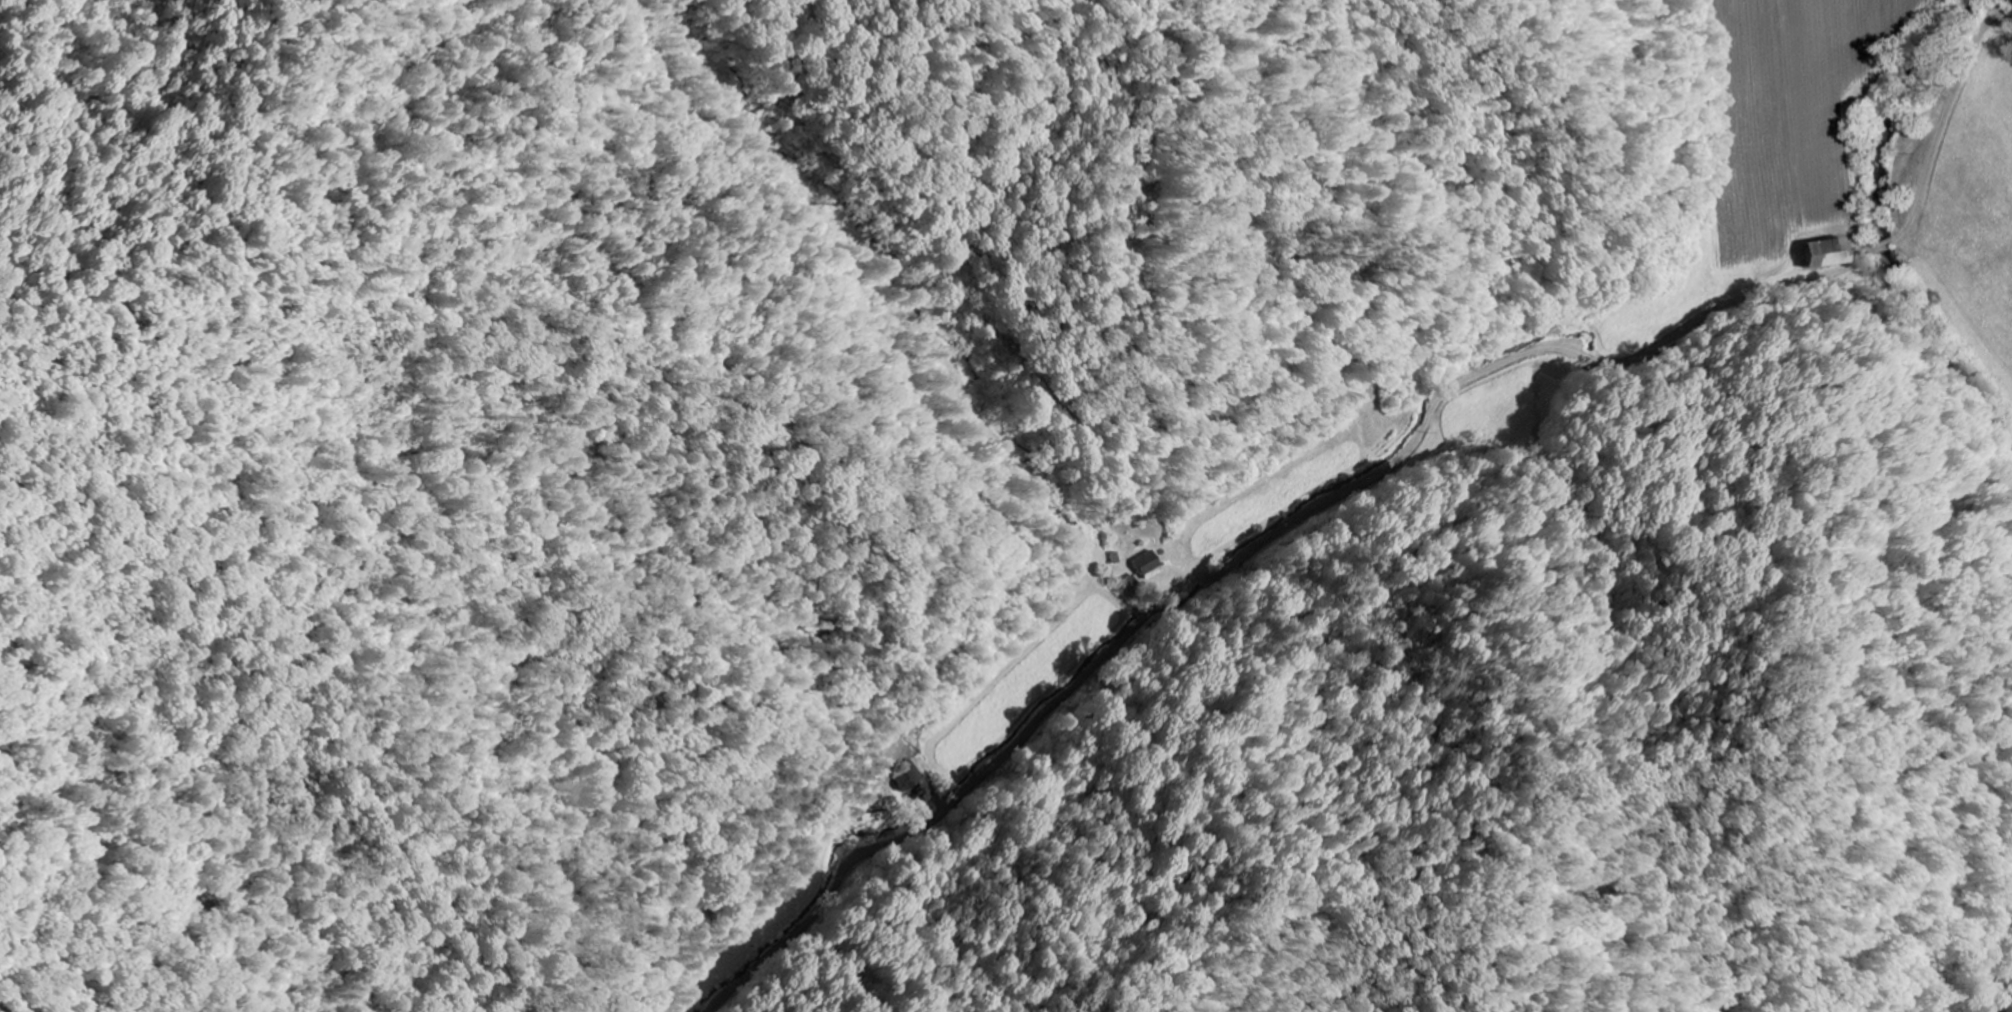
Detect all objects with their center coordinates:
road: (1375, 481)
building: (906, 776)

